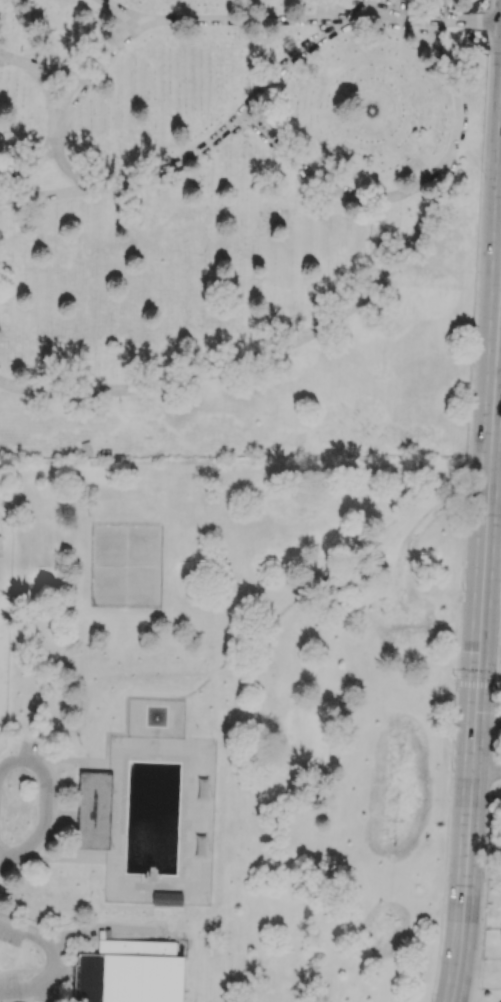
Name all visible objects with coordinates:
road: (372, 9)
road: (337, 10)
road: (120, 13)
road: (182, 19)
road: (55, 118)
road: (236, 124)
road: (411, 189)
road: (46, 193)
road: (493, 221)
park: (239, 225)
road: (499, 353)
road: (263, 354)
road: (499, 365)
road: (496, 468)
park: (126, 566)
road: (479, 683)
road: (476, 684)
traffic signals: (479, 685)
park: (226, 725)
road: (487, 770)
road: (45, 788)
building: (94, 810)
road: (10, 852)
road: (8, 857)
building: (167, 900)
road: (104, 928)
road: (25, 931)
parking lot: (8, 933)
building: (130, 973)
parking lot: (9, 986)
road: (44, 987)

